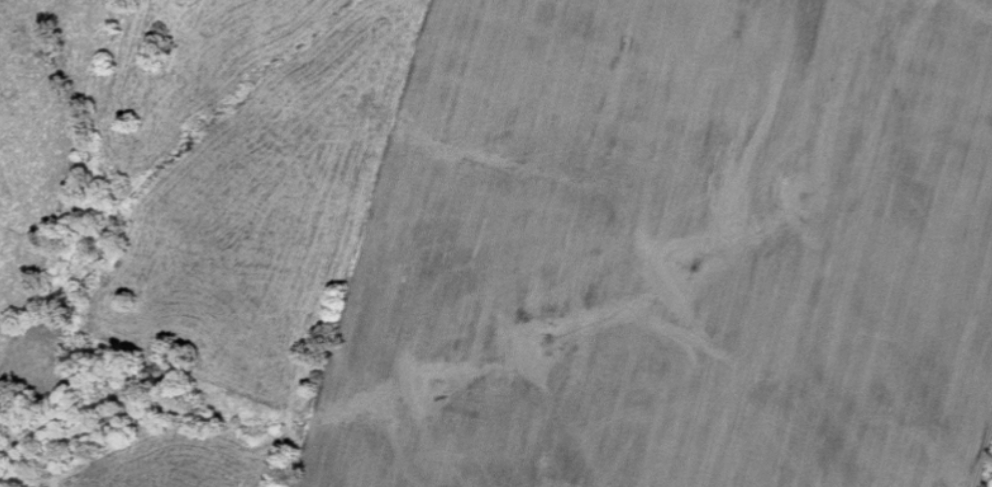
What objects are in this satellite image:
road: (984, 462)

